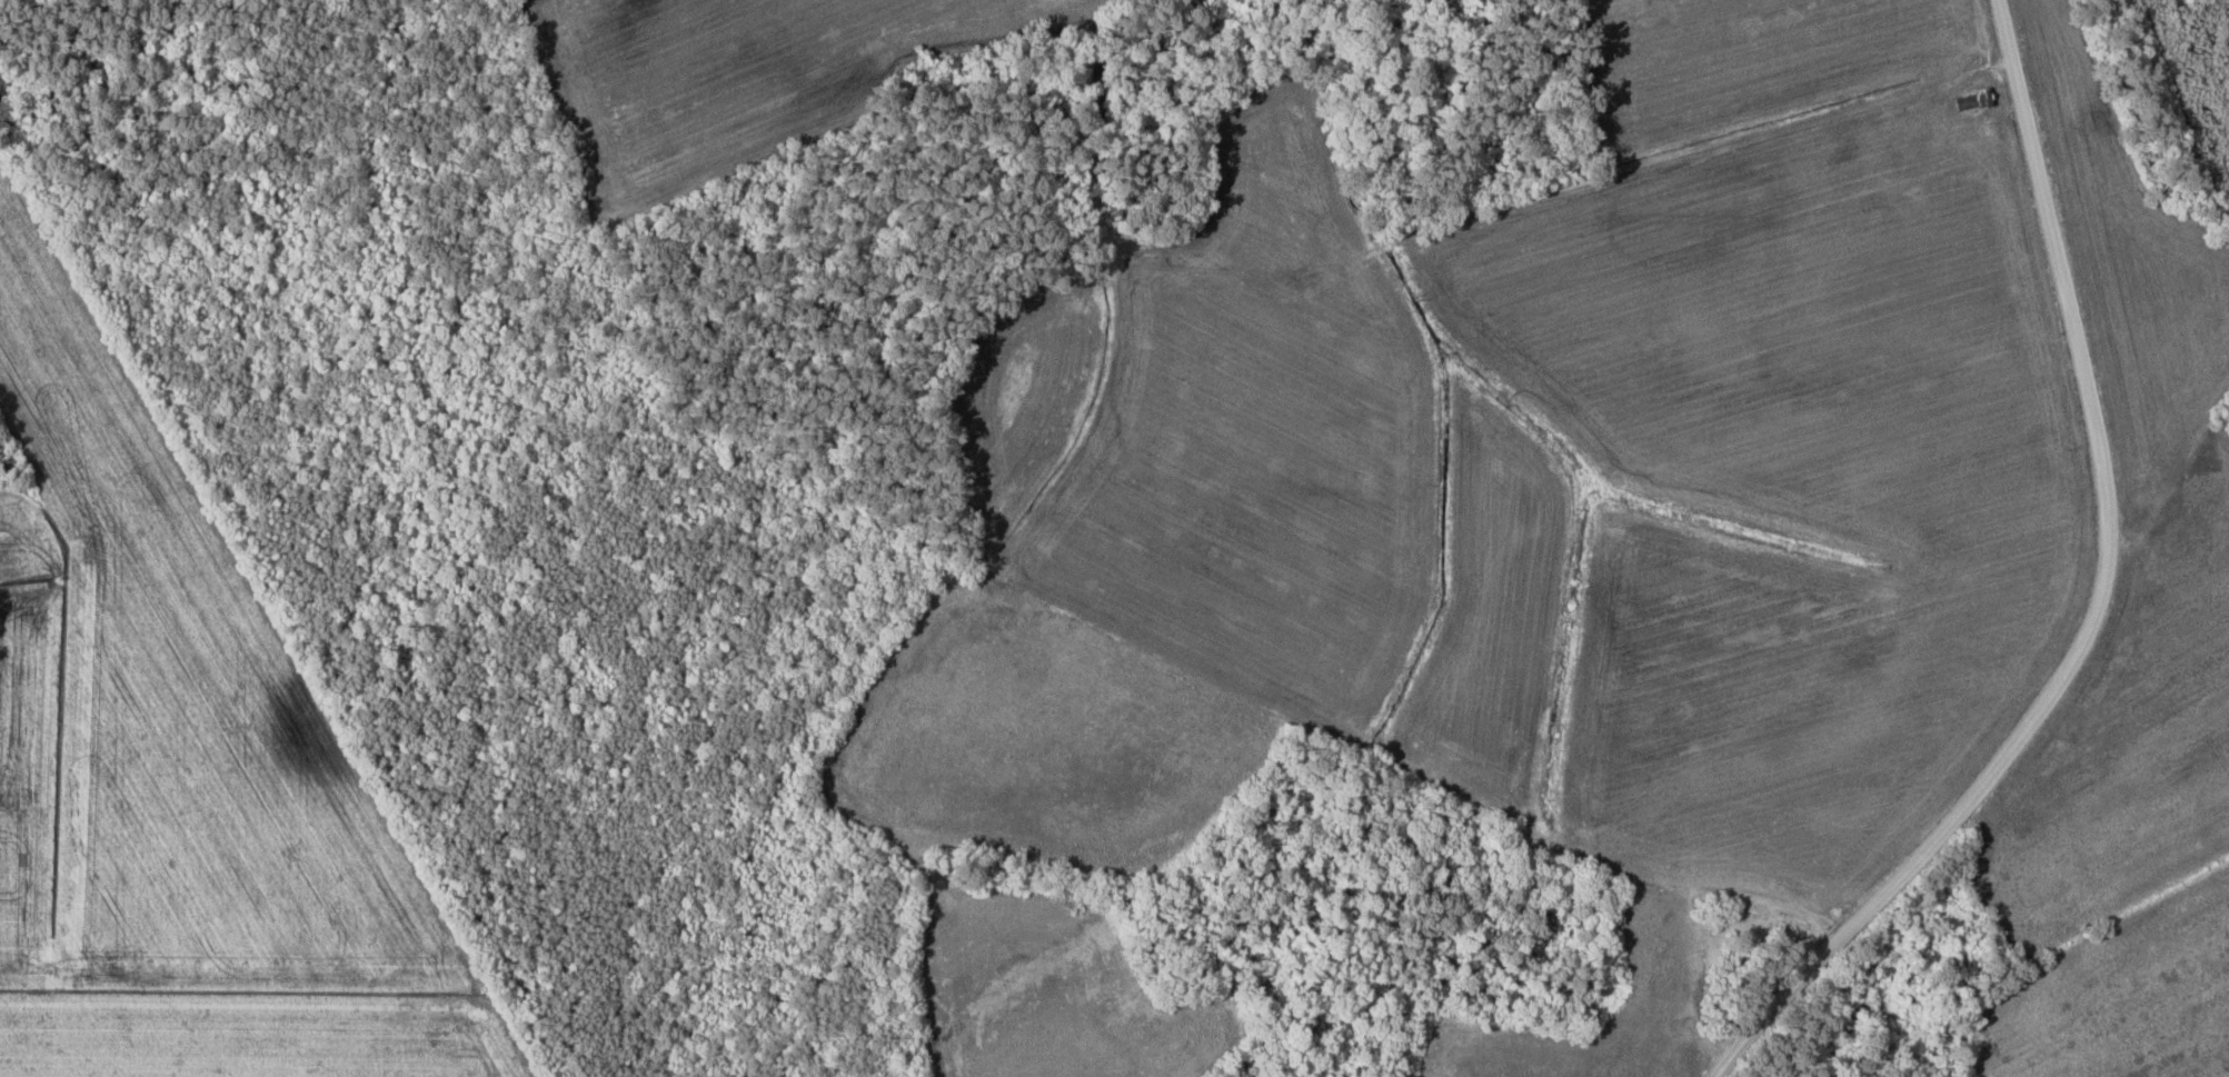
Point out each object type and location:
road: (2094, 601)
park: (1759, 917)

